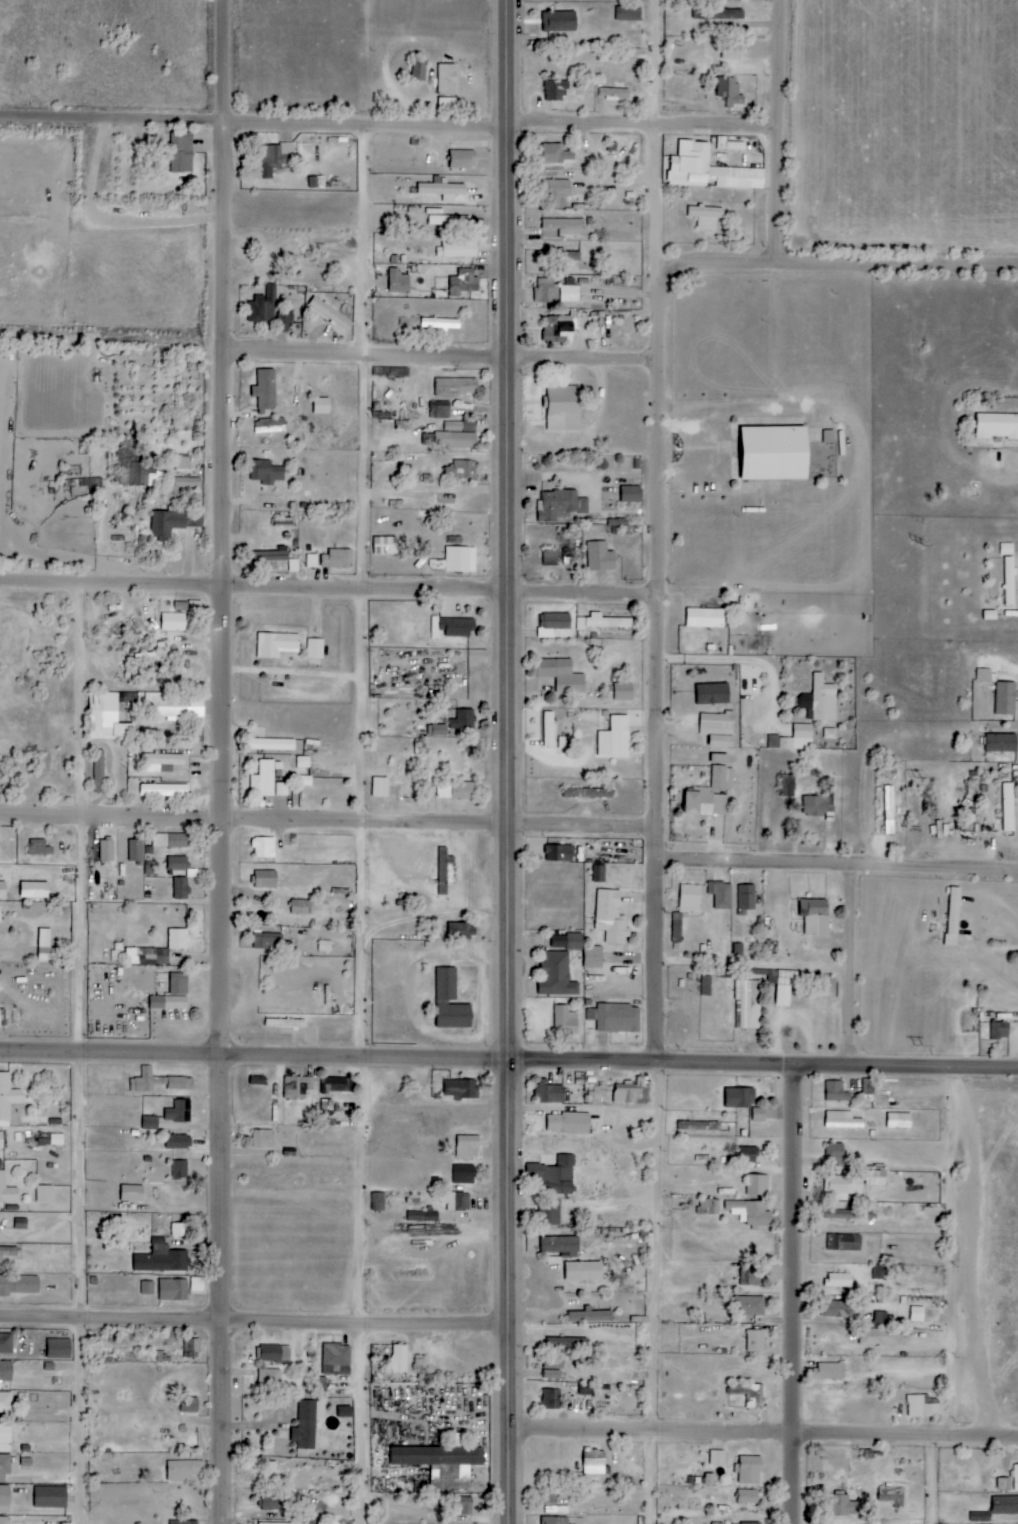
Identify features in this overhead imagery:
building: (628, 13)
building: (701, 15)
building: (559, 21)
building: (731, 50)
road: (663, 65)
road: (787, 65)
building: (419, 70)
building: (447, 78)
building: (556, 90)
building: (730, 91)
building: (614, 93)
road: (257, 126)
road: (724, 131)
road: (588, 132)
building: (726, 143)
building: (181, 153)
building: (556, 154)
building: (273, 159)
building: (462, 159)
building: (709, 170)
building: (442, 189)
building: (556, 192)
road: (663, 197)
road: (784, 200)
building: (706, 216)
building: (448, 220)
building: (566, 227)
building: (458, 249)
building: (559, 256)
building: (278, 257)
road: (840, 269)
building: (398, 281)
building: (463, 282)
building: (569, 290)
building: (546, 291)
building: (263, 306)
building: (331, 314)
building: (283, 321)
building: (440, 324)
building: (560, 327)
road: (371, 360)
road: (587, 364)
building: (456, 387)
building: (265, 389)
building: (321, 406)
building: (563, 408)
building: (440, 410)
building: (269, 425)
building: (460, 426)
building: (997, 426)
building: (449, 440)
road: (694, 441)
road: (663, 445)
building: (774, 453)
building: (135, 468)
building: (461, 470)
building: (266, 472)
building: (187, 483)
building: (631, 494)
building: (560, 505)
building: (173, 523)
power tower: (914, 543)
building: (385, 546)
building: (1007, 549)
building: (268, 557)
building: (600, 557)
building: (337, 558)
building: (550, 558)
building: (460, 560)
building: (311, 561)
building: (1010, 577)
road: (255, 590)
road: (588, 598)
building: (705, 618)
building: (173, 622)
building: (555, 622)
building: (603, 622)
building: (276, 645)
building: (315, 649)
building: (562, 676)
building: (987, 676)
road: (299, 678)
road: (772, 678)
building: (622, 692)
building: (712, 694)
building: (1006, 699)
building: (820, 700)
building: (177, 712)
building: (463, 720)
building: (548, 729)
building: (718, 729)
building: (438, 730)
road: (664, 731)
building: (617, 736)
building: (794, 739)
building: (1001, 742)
building: (271, 745)
road: (229, 762)
road: (512, 762)
building: (160, 763)
power tower: (915, 766)
building: (99, 772)
building: (265, 778)
building: (787, 785)
building: (380, 787)
building: (163, 791)
building: (395, 791)
building: (457, 791)
building: (712, 791)
building: (588, 794)
building: (814, 806)
building: (1008, 808)
building: (889, 810)
road: (256, 824)
road: (370, 827)
road: (589, 830)
building: (170, 840)
building: (39, 847)
building: (264, 847)
road: (664, 848)
building: (106, 850)
building: (135, 850)
building: (559, 853)
building: (177, 863)
building: (445, 870)
road: (840, 870)
building: (599, 873)
building: (265, 879)
building: (180, 888)
building: (34, 889)
building: (2, 890)
building: (722, 895)
building: (747, 897)
building: (690, 898)
building: (301, 907)
building: (953, 912)
building: (0, 914)
building: (815, 916)
building: (611, 917)
building: (677, 927)
building: (463, 928)
building: (177, 939)
building: (574, 941)
building: (45, 944)
building: (147, 956)
building: (593, 957)
road: (759, 959)
road: (663, 964)
road: (853, 969)
building: (557, 975)
building: (177, 984)
building: (446, 984)
building: (706, 985)
building: (783, 995)
building: (748, 1004)
building: (454, 1015)
building: (618, 1018)
building: (565, 1021)
building: (285, 1023)
building: (1000, 1030)
power tower: (917, 1047)
road: (88, 1054)
road: (258, 1059)
road: (768, 1067)
building: (159, 1082)
building: (336, 1084)
building: (297, 1086)
building: (462, 1089)
building: (626, 1092)
building: (836, 1092)
building: (549, 1093)
building: (740, 1097)
building: (7, 1099)
building: (178, 1112)
building: (759, 1114)
building: (842, 1120)
building: (899, 1120)
building: (150, 1123)
building: (568, 1123)
building: (699, 1126)
building: (263, 1138)
building: (1, 1140)
building: (53, 1140)
building: (177, 1142)
building: (466, 1145)
building: (835, 1154)
building: (746, 1155)
building: (178, 1170)
building: (463, 1174)
building: (557, 1177)
building: (757, 1185)
building: (842, 1186)
building: (7, 1189)
building: (131, 1193)
building: (44, 1194)
building: (379, 1201)
building: (456, 1201)
building: (708, 1207)
building: (549, 1212)
building: (751, 1212)
building: (848, 1214)
building: (423, 1217)
building: (21, 1223)
building: (179, 1229)
building: (844, 1242)
building: (558, 1244)
building: (8, 1252)
road: (955, 1253)
building: (161, 1259)
building: (582, 1270)
building: (752, 1277)
building: (840, 1280)
building: (197, 1284)
building: (19, 1285)
building: (146, 1288)
building: (174, 1290)
road: (651, 1294)
power tower: (916, 1294)
road: (795, 1295)
building: (750, 1305)
building: (837, 1309)
building: (917, 1314)
building: (590, 1316)
road: (258, 1325)
building: (880, 1337)
building: (567, 1341)
building: (756, 1341)
building: (6, 1344)
building: (191, 1346)
building: (59, 1349)
building: (275, 1354)
building: (337, 1359)
building: (399, 1359)
building: (553, 1367)
building: (6, 1371)
building: (829, 1371)
building: (269, 1381)
building: (749, 1394)
building: (551, 1399)
building: (5, 1403)
building: (189, 1405)
building: (923, 1406)
building: (344, 1411)
building: (308, 1423)
road: (768, 1432)
building: (5, 1438)
building: (717, 1458)
building: (594, 1462)
building: (441, 1464)
building: (4, 1467)
building: (182, 1470)
building: (749, 1470)
road: (929, 1479)
building: (50, 1497)
building: (748, 1497)
building: (4, 1500)
building: (273, 1502)
building: (1005, 1505)
building: (843, 1506)
building: (463, 1508)
building: (980, 1517)
power tower: (914, 1518)
building: (4, 1520)
building: (555, 1520)
building: (183, 1522)
building: (266, 1523)
building: (328, 1523)
building: (751, 1523)

